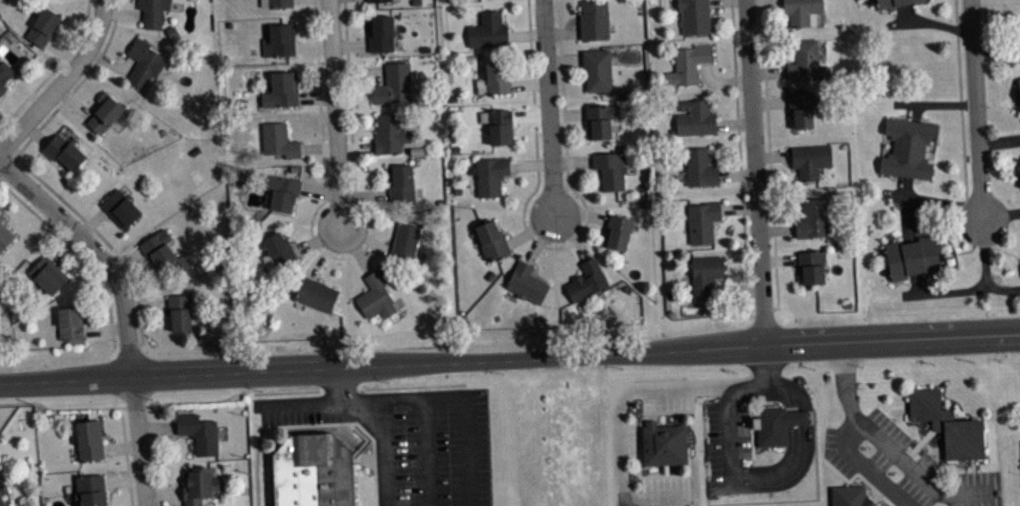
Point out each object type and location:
building: (53, 0)
building: (488, 0)
building: (916, 0)
building: (276, 2)
road: (763, 2)
building: (381, 3)
building: (887, 3)
building: (153, 11)
building: (802, 11)
road: (122, 12)
road: (905, 12)
building: (694, 15)
building: (594, 19)
road: (929, 23)
building: (43, 24)
building: (488, 29)
road: (562, 30)
building: (380, 32)
road: (526, 33)
building: (279, 39)
road: (350, 44)
road: (313, 45)
road: (62, 51)
road: (996, 52)
road: (564, 57)
building: (806, 60)
building: (144, 61)
building: (688, 62)
road: (110, 64)
building: (597, 67)
road: (52, 69)
road: (361, 69)
road: (767, 70)
building: (496, 75)
building: (4, 76)
road: (61, 81)
road: (720, 81)
building: (1018, 82)
road: (77, 83)
building: (394, 83)
road: (529, 83)
building: (281, 89)
road: (316, 95)
road: (769, 100)
road: (73, 101)
road: (934, 102)
road: (548, 106)
building: (801, 106)
road: (976, 107)
road: (961, 108)
road: (913, 110)
building: (105, 111)
road: (335, 112)
road: (567, 112)
road: (530, 114)
building: (695, 116)
building: (600, 119)
road: (734, 122)
building: (500, 125)
road: (35, 133)
building: (390, 133)
building: (279, 139)
road: (999, 139)
road: (9, 141)
road: (318, 146)
building: (908, 146)
road: (356, 147)
building: (64, 149)
road: (772, 154)
building: (810, 158)
road: (740, 160)
road: (572, 161)
road: (769, 161)
road: (6, 162)
road: (530, 163)
building: (699, 166)
building: (611, 168)
road: (754, 171)
building: (489, 173)
road: (736, 173)
building: (401, 181)
building: (281, 188)
road: (320, 190)
road: (364, 194)
road: (931, 200)
building: (121, 206)
road: (738, 207)
road: (904, 208)
road: (582, 213)
road: (1001, 213)
building: (1, 216)
building: (812, 217)
building: (702, 219)
road: (91, 220)
road: (531, 228)
road: (775, 228)
building: (618, 231)
road: (573, 233)
building: (5, 235)
road: (367, 236)
road: (318, 238)
building: (491, 238)
road: (542, 238)
road: (106, 241)
building: (405, 242)
road: (62, 244)
road: (555, 246)
road: (356, 247)
building: (277, 249)
building: (164, 250)
road: (327, 251)
road: (77, 252)
building: (913, 256)
road: (342, 257)
road: (778, 258)
road: (126, 259)
building: (811, 264)
building: (48, 273)
building: (705, 273)
building: (587, 279)
building: (527, 282)
road: (916, 283)
road: (736, 288)
road: (978, 288)
road: (1003, 289)
building: (315, 292)
building: (376, 292)
road: (146, 303)
road: (125, 309)
building: (179, 310)
building: (71, 323)
road: (104, 328)
road: (510, 358)
road: (338, 385)
road: (415, 385)
road: (786, 389)
parking lot: (667, 394)
road: (727, 398)
road: (375, 402)
road: (159, 403)
road: (467, 408)
parking lot: (297, 409)
road: (617, 409)
road: (796, 415)
building: (777, 422)
building: (947, 423)
road: (313, 424)
road: (157, 425)
building: (199, 431)
building: (89, 438)
parking lot: (624, 440)
building: (664, 441)
parking lot: (725, 443)
road: (885, 445)
road: (121, 446)
parking lot: (442, 447)
road: (428, 451)
parking lot: (1019, 454)
road: (126, 455)
road: (363, 459)
parking lot: (900, 464)
road: (866, 466)
building: (312, 470)
road: (783, 470)
road: (122, 478)
building: (198, 484)
building: (90, 489)
parking lot: (662, 491)
road: (163, 492)
building: (849, 495)
building: (2, 500)
building: (885, 505)

